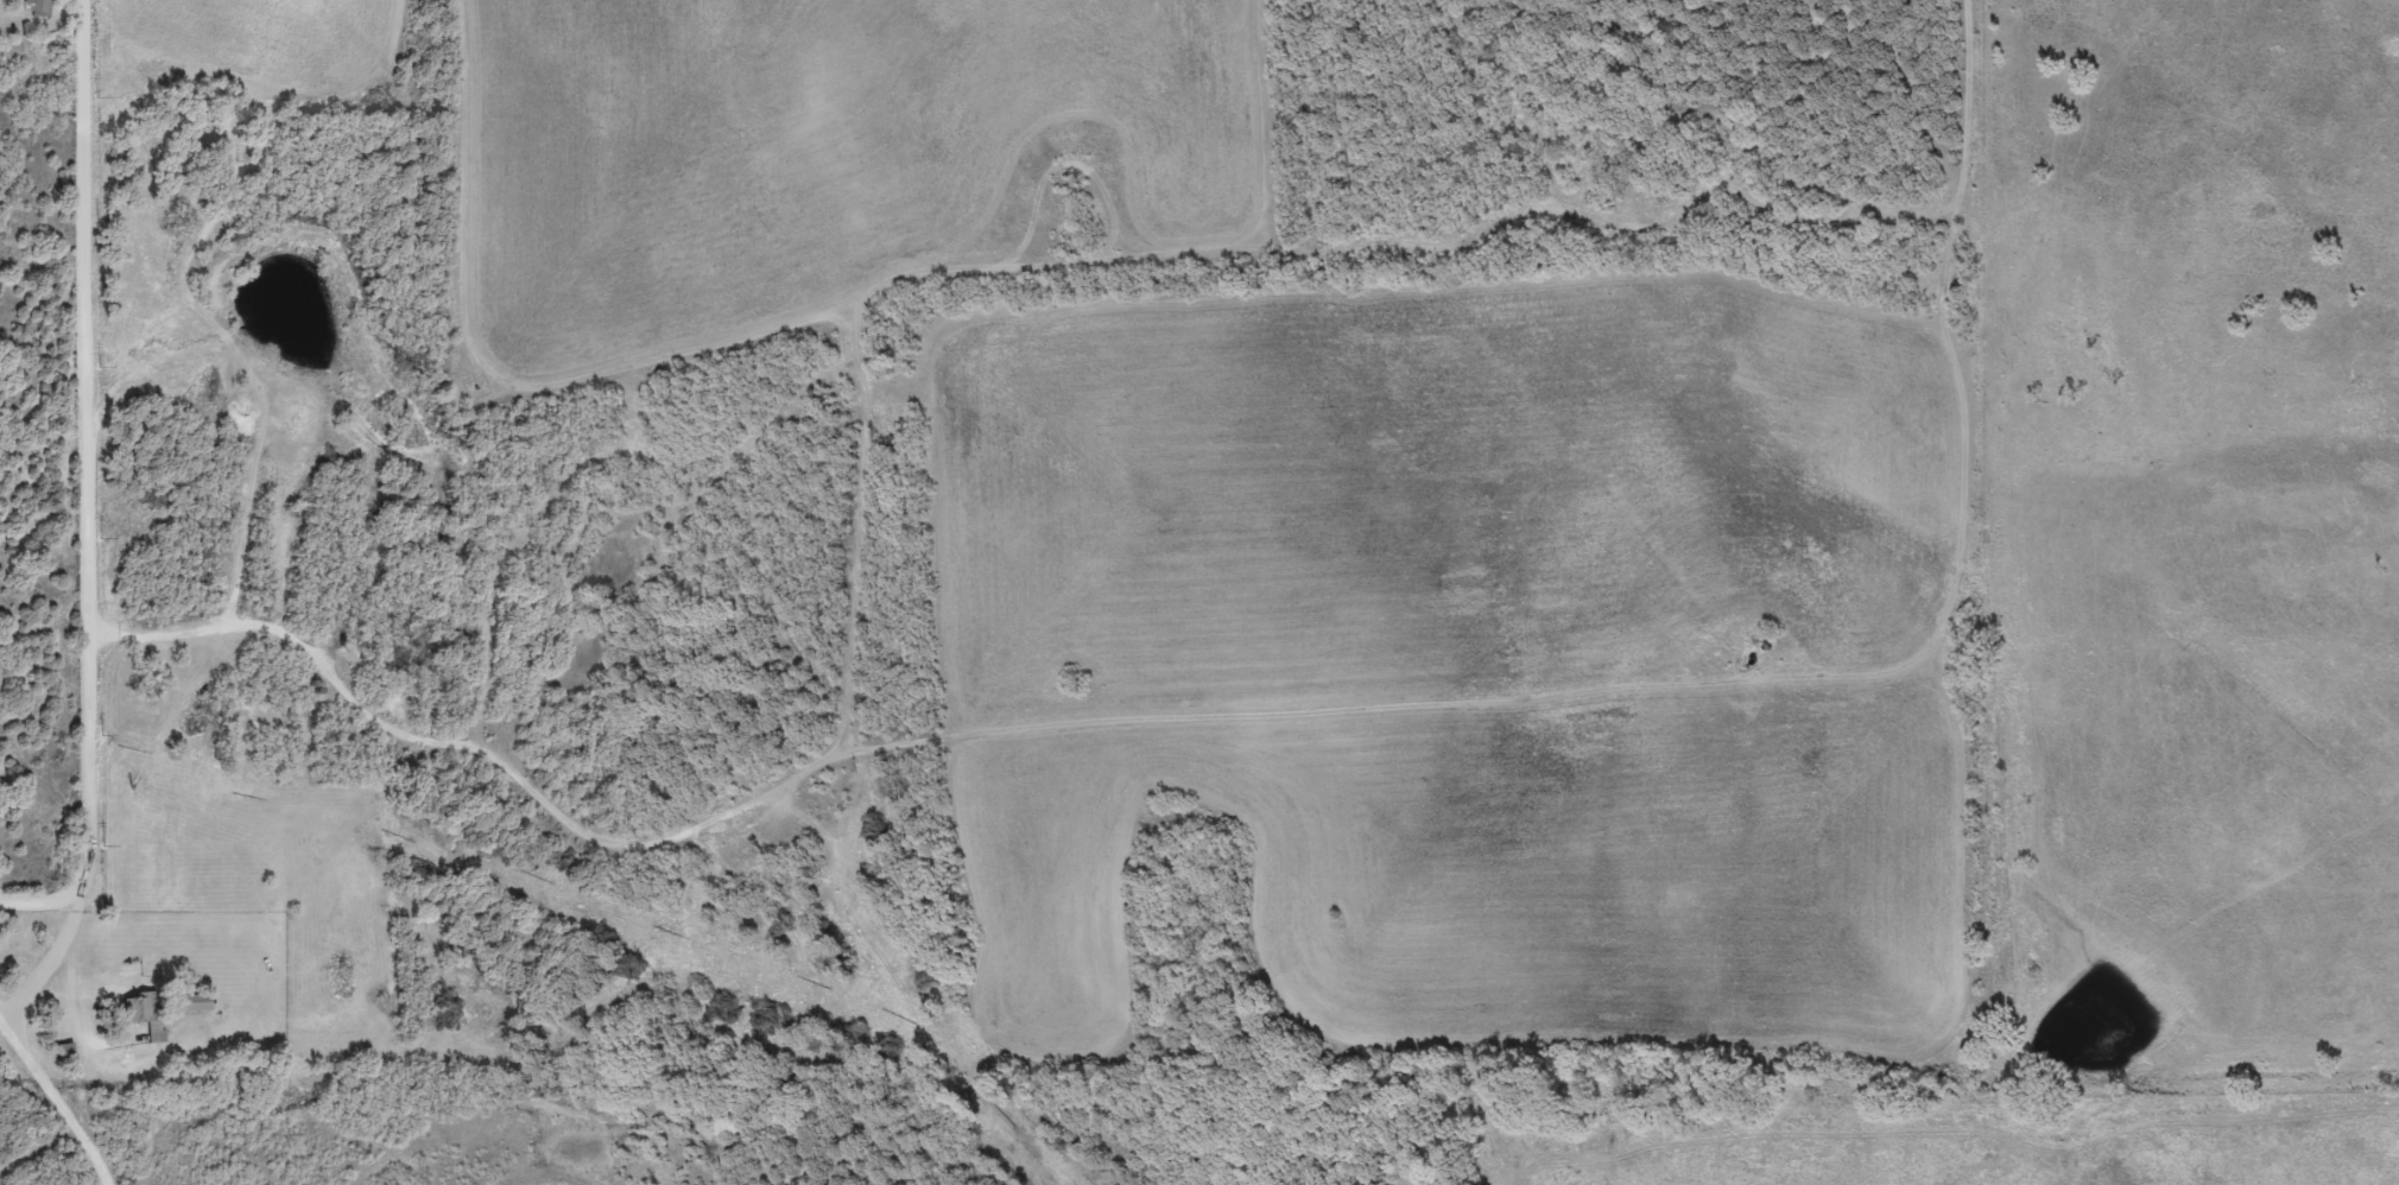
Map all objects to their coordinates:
building: (39, 11)
road: (89, 432)
road: (55, 902)
building: (200, 1010)
building: (147, 1021)
building: (68, 1059)

